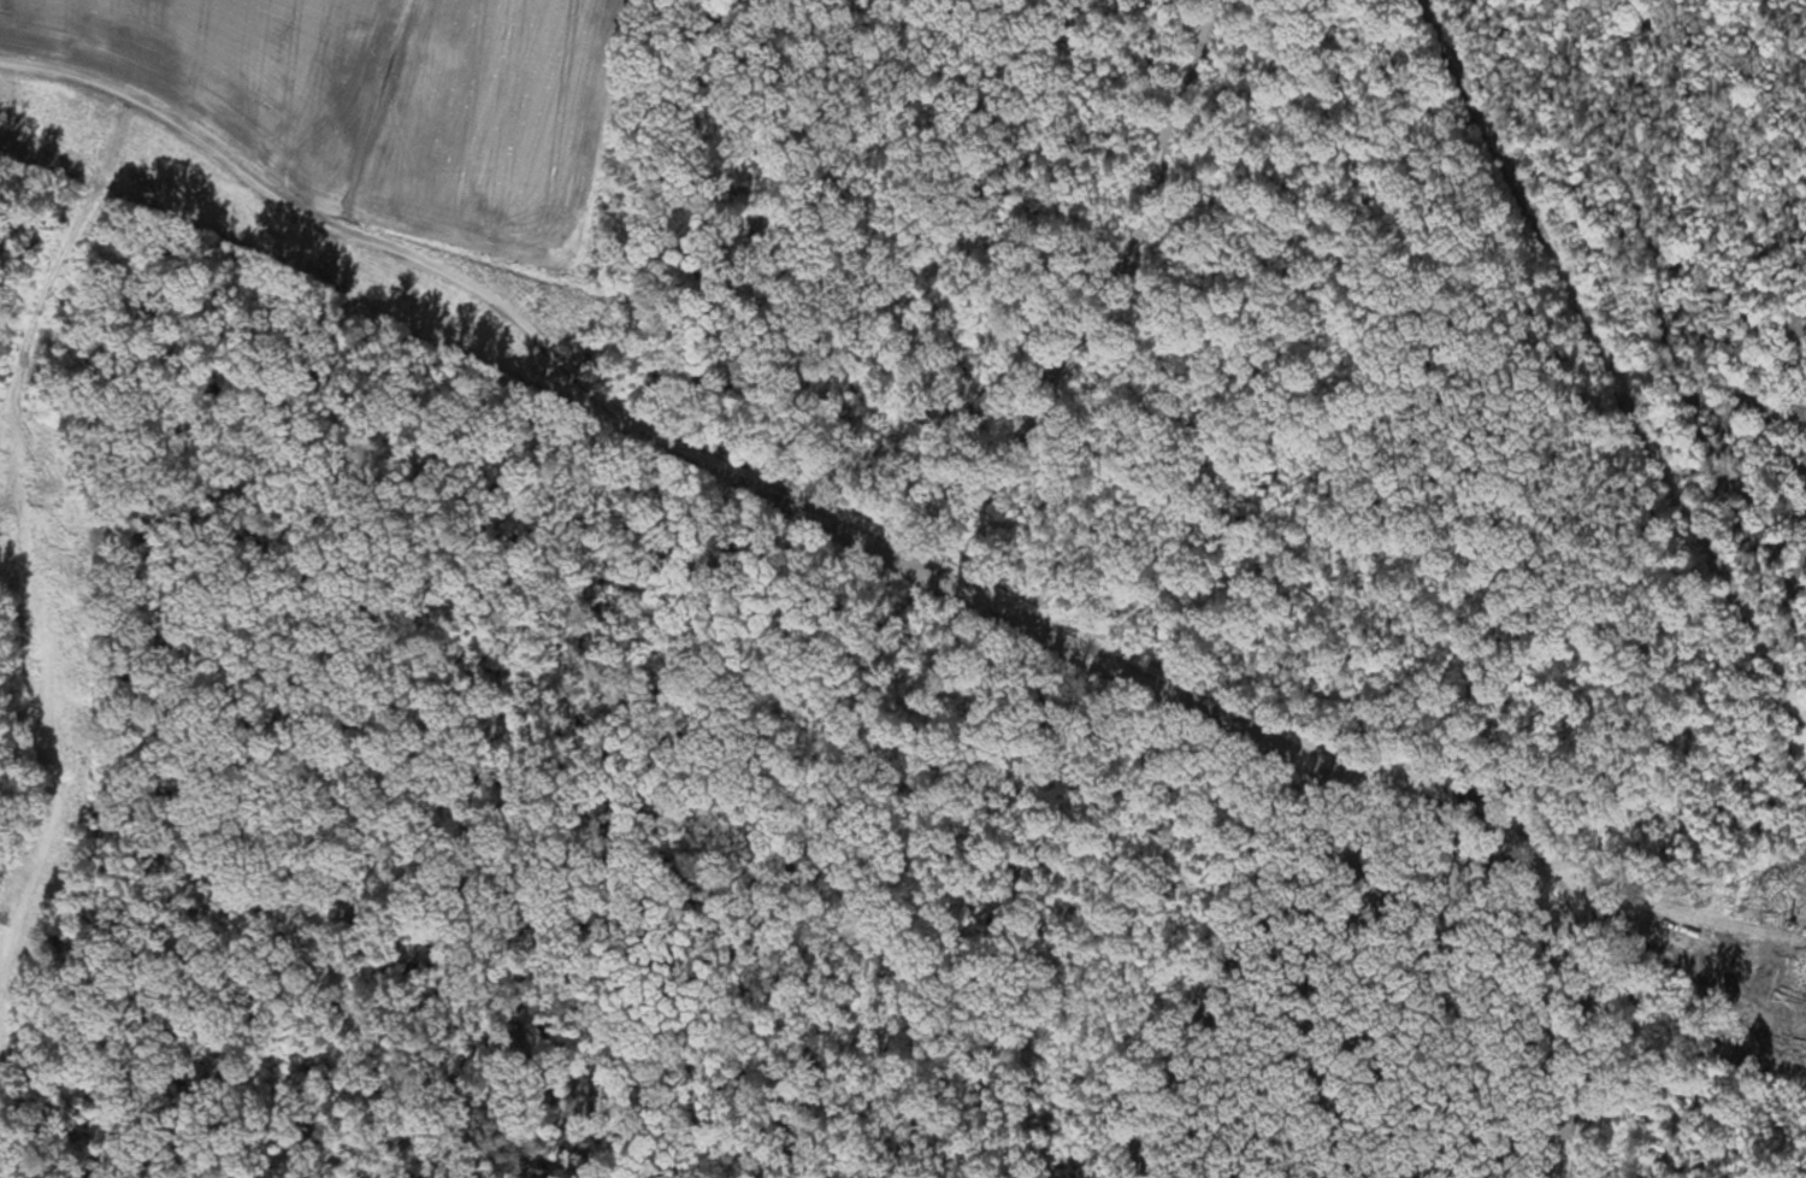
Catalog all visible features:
road: (875, 547)
building: (1464, 795)

